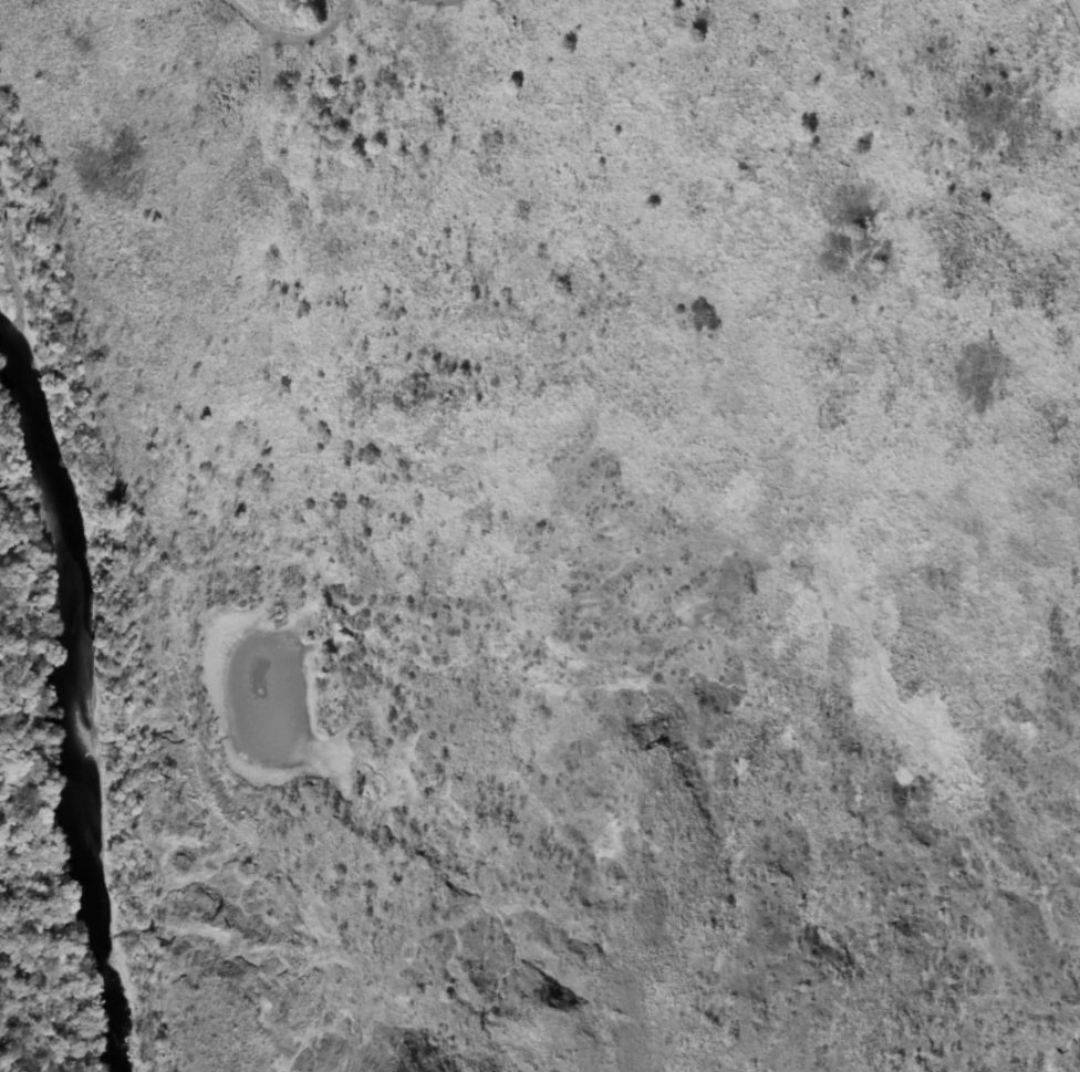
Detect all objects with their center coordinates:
river: (72, 686)

